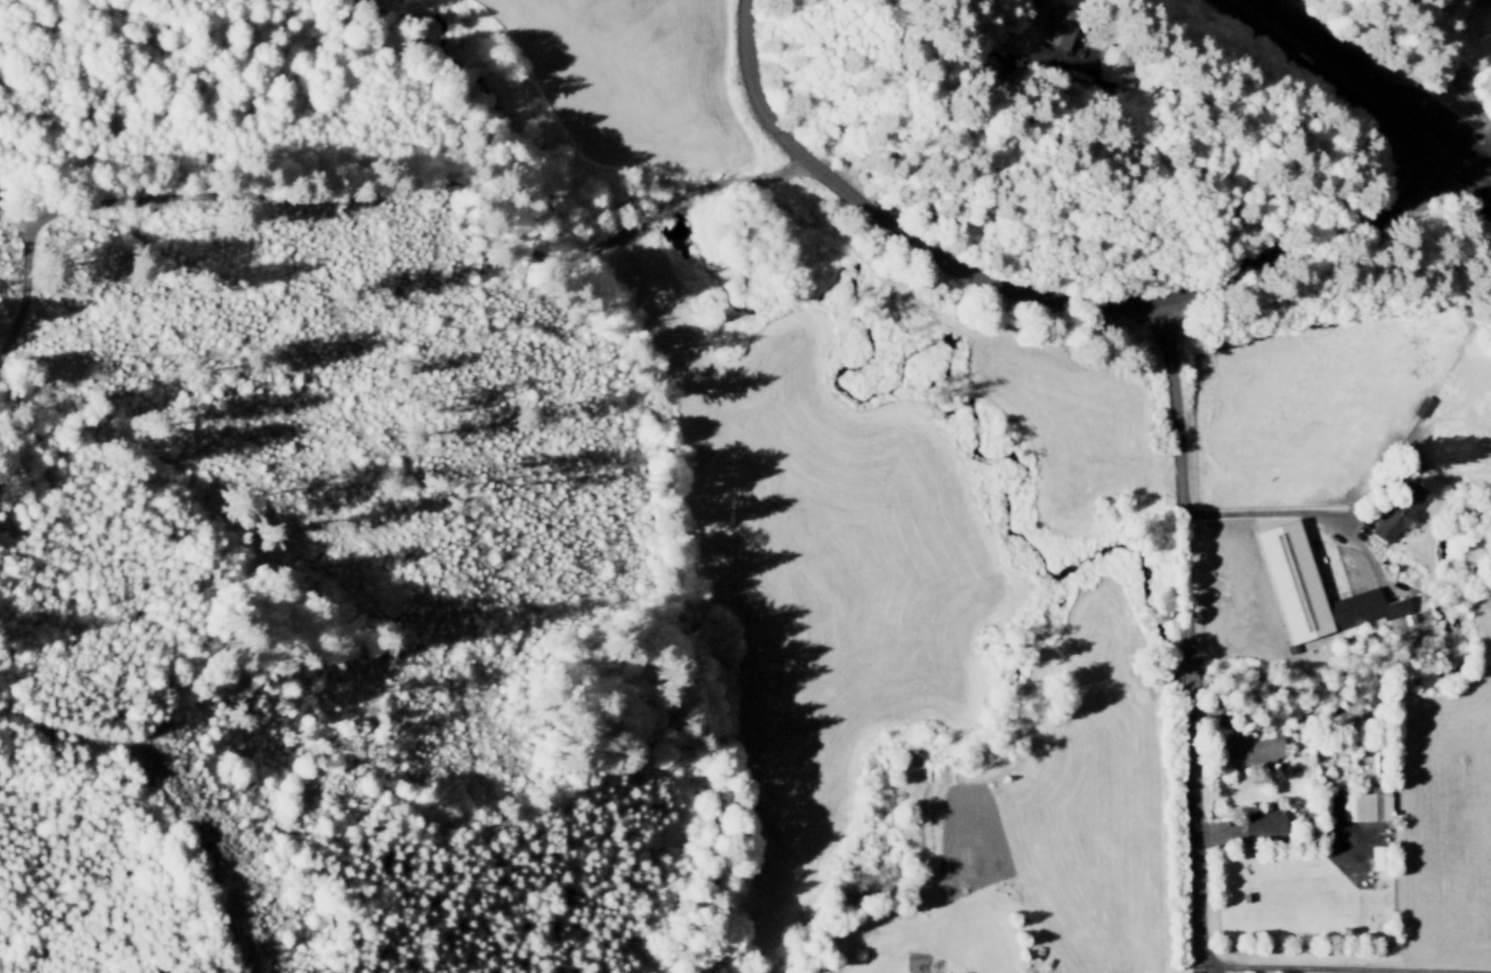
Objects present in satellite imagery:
road: (1244, 3)
building: (1038, 21)
road: (1325, 60)
building: (1096, 64)
road: (1458, 84)
road: (1431, 137)
road: (1121, 156)
road: (1464, 162)
road: (1411, 164)
road: (1479, 172)
road: (373, 185)
road: (1429, 189)
road: (20, 202)
road: (996, 284)
road: (675, 316)
road: (649, 320)
building: (1420, 403)
road: (1178, 472)
road: (1307, 509)
building: (1396, 509)
road: (1348, 512)
building: (1396, 564)
building: (1310, 586)
building: (1290, 646)
road: (1188, 673)
building: (1251, 748)
road: (164, 761)
building: (1365, 802)
building: (1261, 819)
road: (1193, 836)
building: (1378, 855)
building: (1245, 895)
road: (1348, 967)
building: (931, 972)
road: (1212, 972)

